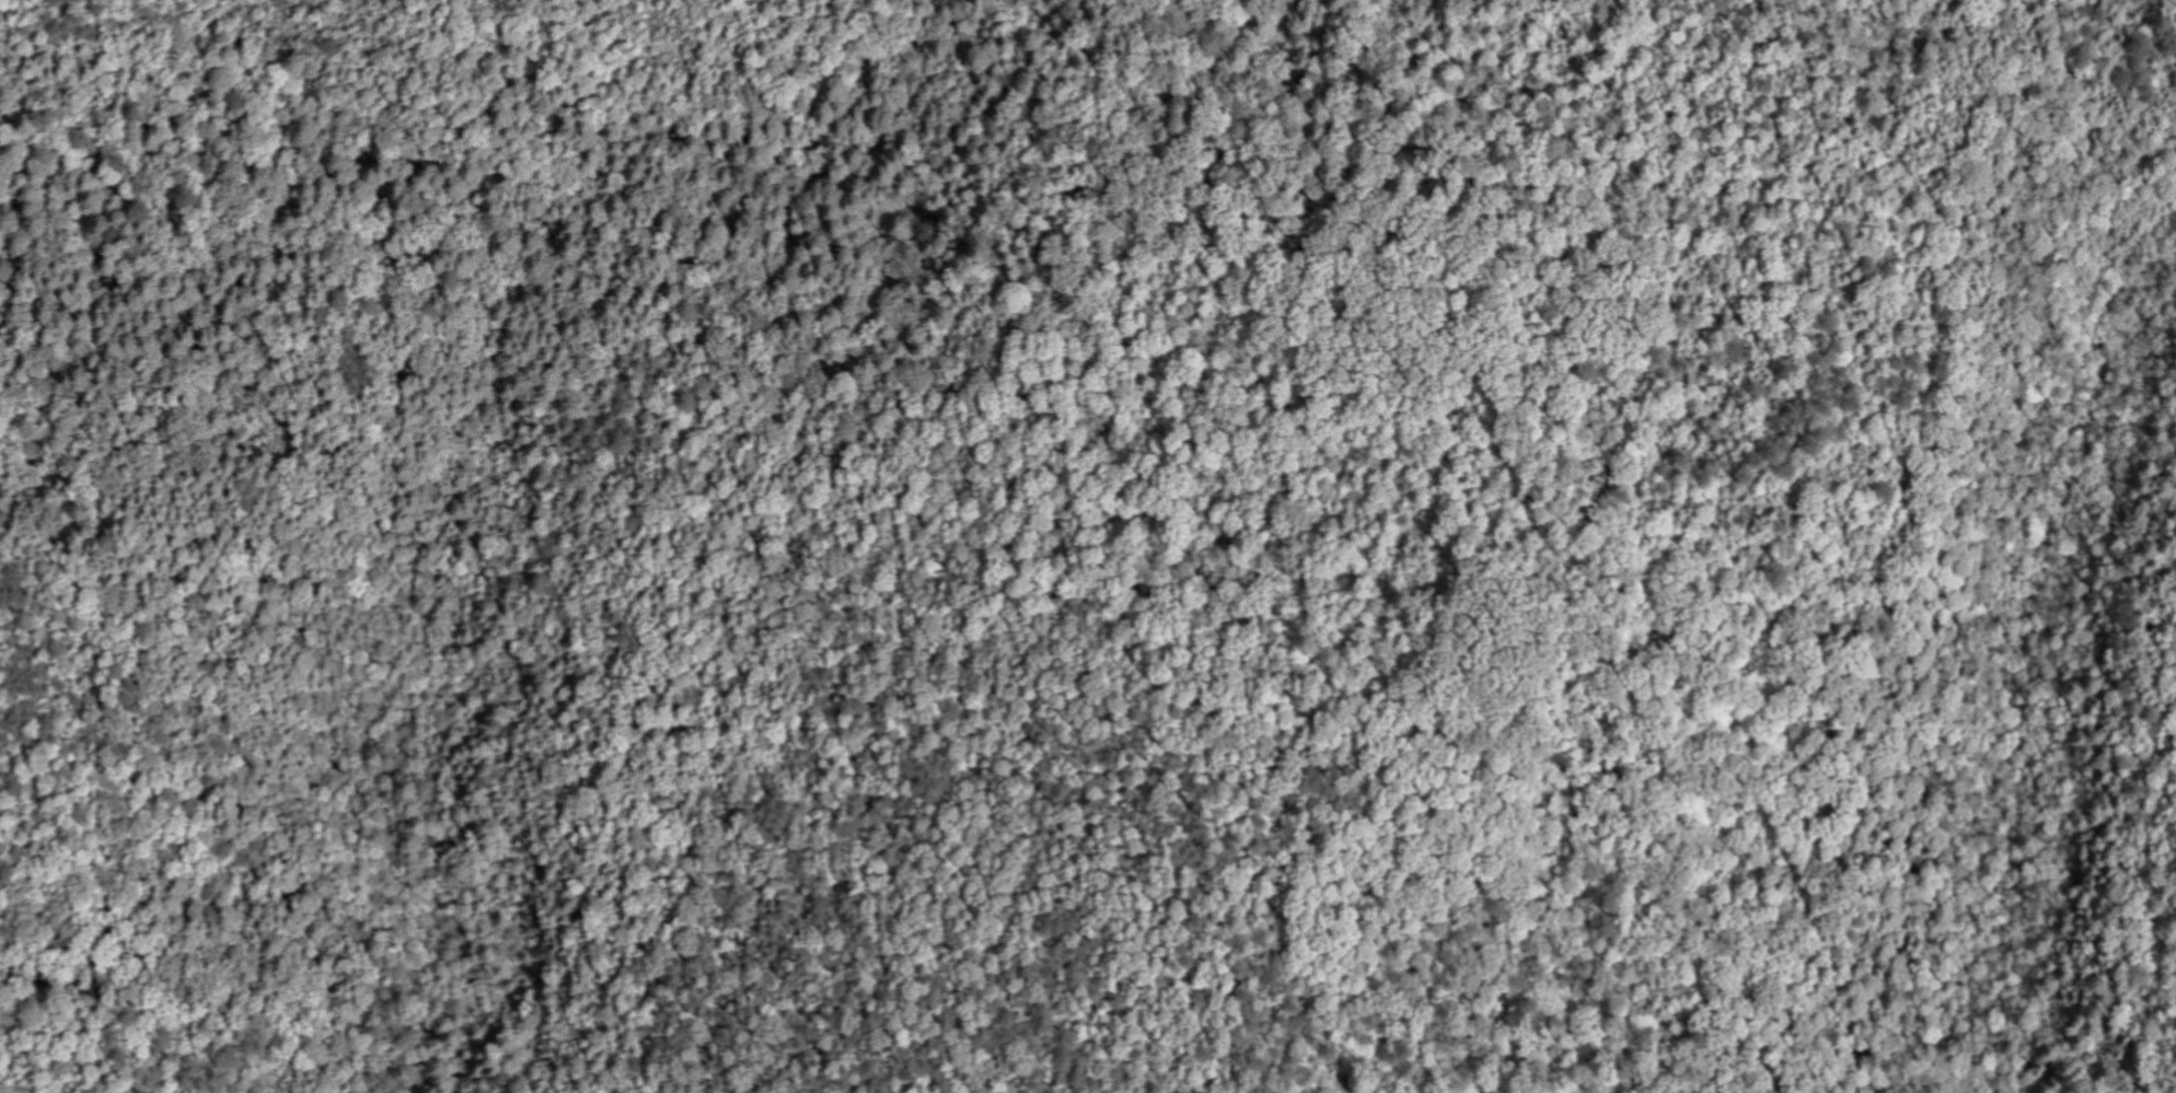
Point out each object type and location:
river: (786, 155)
river: (435, 659)
road: (1350, 1091)

